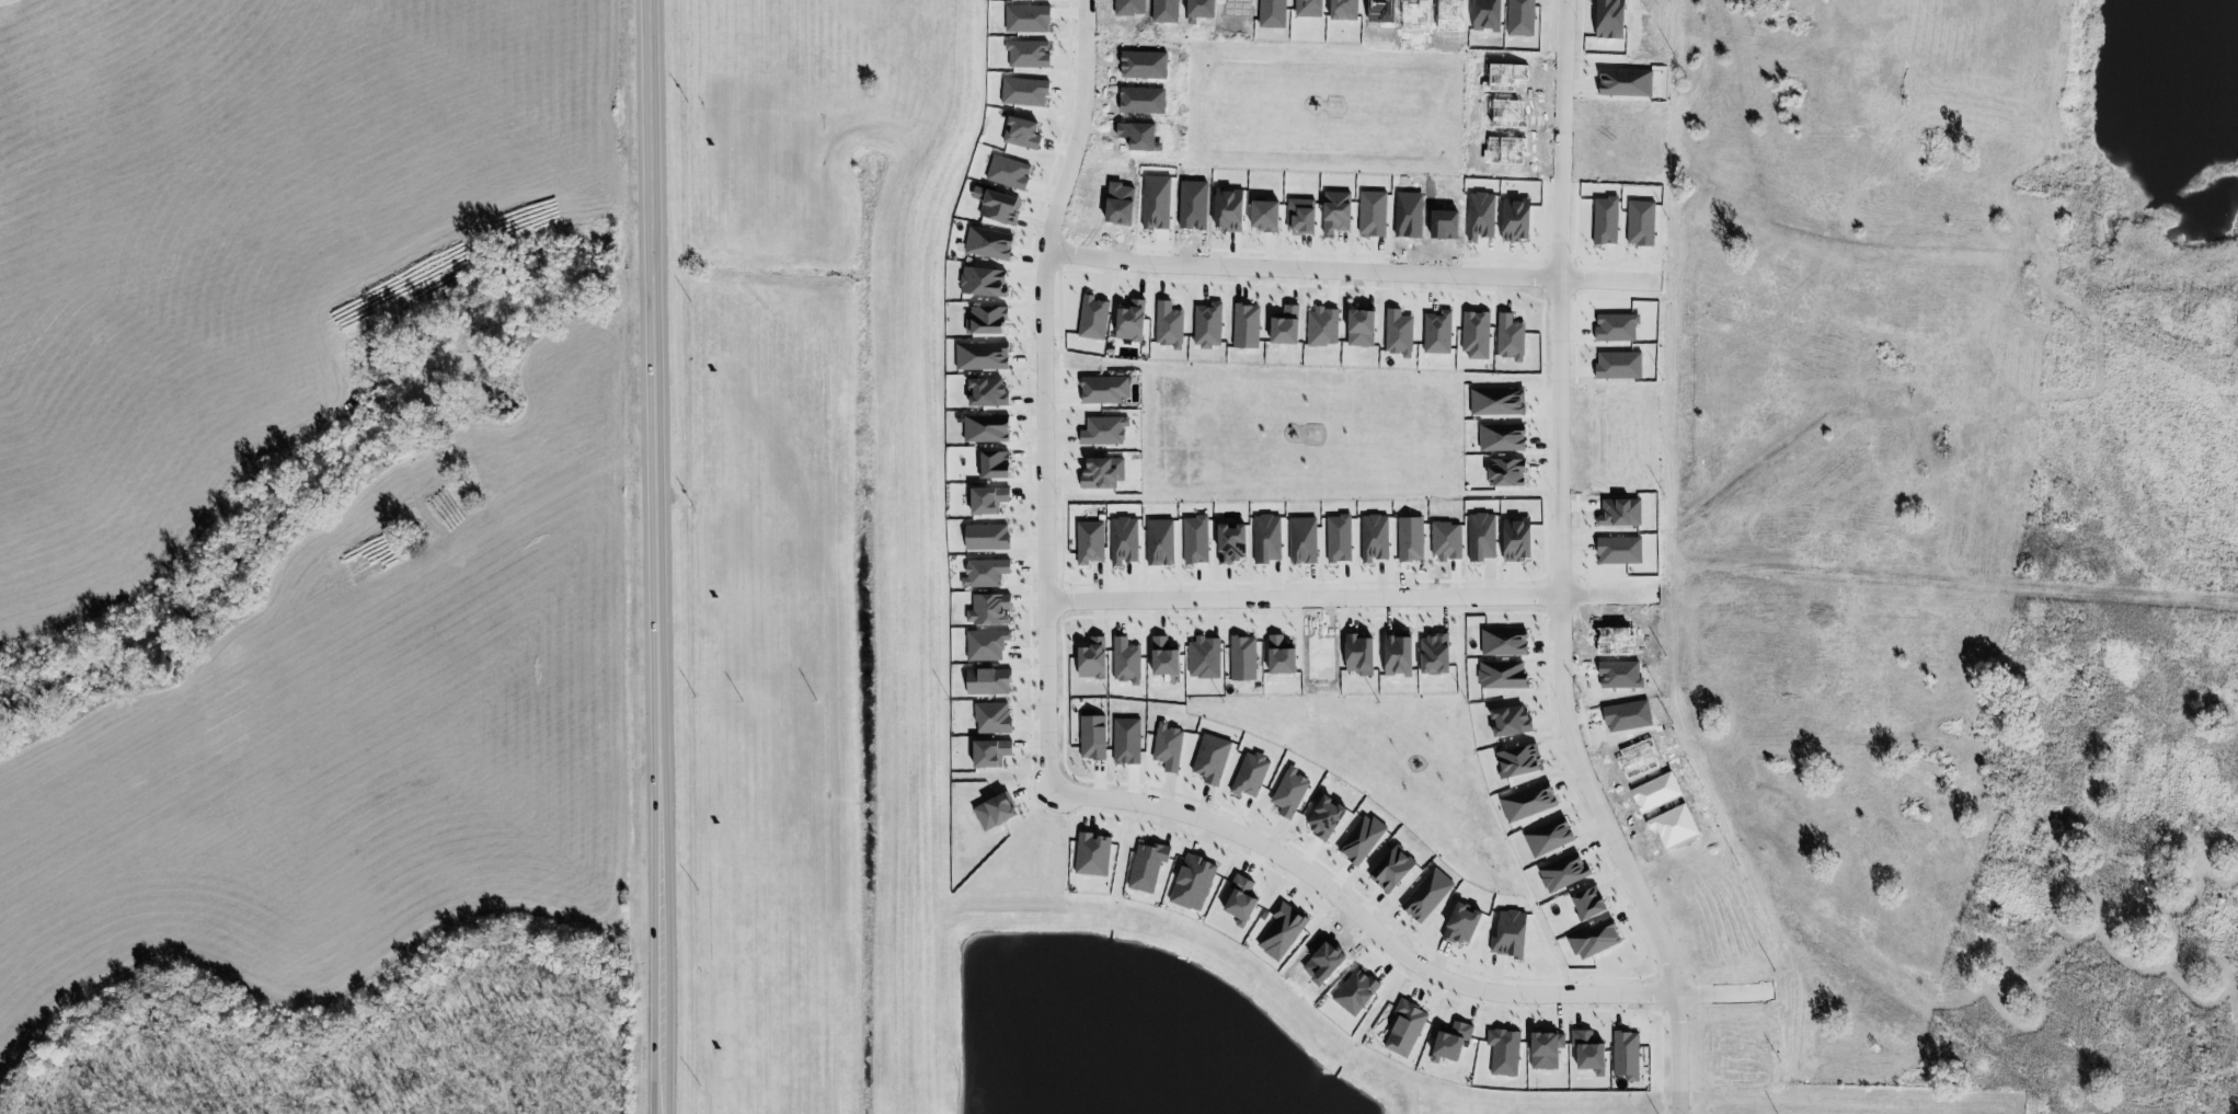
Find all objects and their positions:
road: (1079, 128)
road: (1563, 139)
building: (998, 208)
building: (987, 244)
road: (1298, 271)
road: (1602, 279)
building: (982, 283)
building: (1092, 319)
building: (985, 321)
building: (1127, 322)
building: (1168, 325)
building: (1321, 325)
building: (1206, 326)
building: (1244, 328)
building: (1282, 328)
building: (1357, 329)
building: (1436, 333)
building: (1397, 334)
building: (1474, 336)
building: (1508, 338)
building: (980, 357)
building: (1102, 389)
building: (985, 393)
building: (1495, 401)
building: (985, 429)
building: (1102, 430)
building: (1501, 437)
building: (991, 463)
building: (1100, 472)
building: (985, 499)
road: (1038, 521)
building: (985, 537)
building: (1374, 537)
building: (1338, 538)
building: (1194, 539)
building: (1409, 539)
building: (1514, 539)
building: (1122, 540)
building: (1300, 540)
building: (1444, 540)
building: (1088, 542)
building: (1228, 542)
road: (664, 556)
building: (983, 572)
road: (1959, 588)
road: (1298, 601)
building: (987, 609)
building: (1502, 642)
building: (984, 644)
road: (1557, 648)
building: (1356, 654)
building: (1432, 654)
building: (1395, 655)
building: (1160, 656)
building: (1276, 656)
building: (1089, 658)
building: (1203, 658)
building: (1241, 658)
building: (1125, 661)
building: (1501, 675)
building: (986, 681)
building: (990, 717)
building: (1507, 720)
building: (1090, 737)
building: (1126, 740)
building: (1167, 747)
building: (987, 753)
building: (1209, 759)
building: (1250, 774)
building: (1288, 793)
building: (1526, 802)
building: (995, 809)
building: (1322, 817)
building: (1547, 837)
building: (1359, 839)
building: (1091, 854)
building: (1145, 866)
building: (1389, 869)
building: (1562, 872)
building: (1191, 883)
building: (1425, 895)
building: (1237, 900)
building: (1586, 903)
road: (1353, 916)
building: (1278, 932)
building: (1506, 933)
building: (1593, 940)
building: (1403, 1029)
building: (1625, 1055)
road: (1672, 1056)

